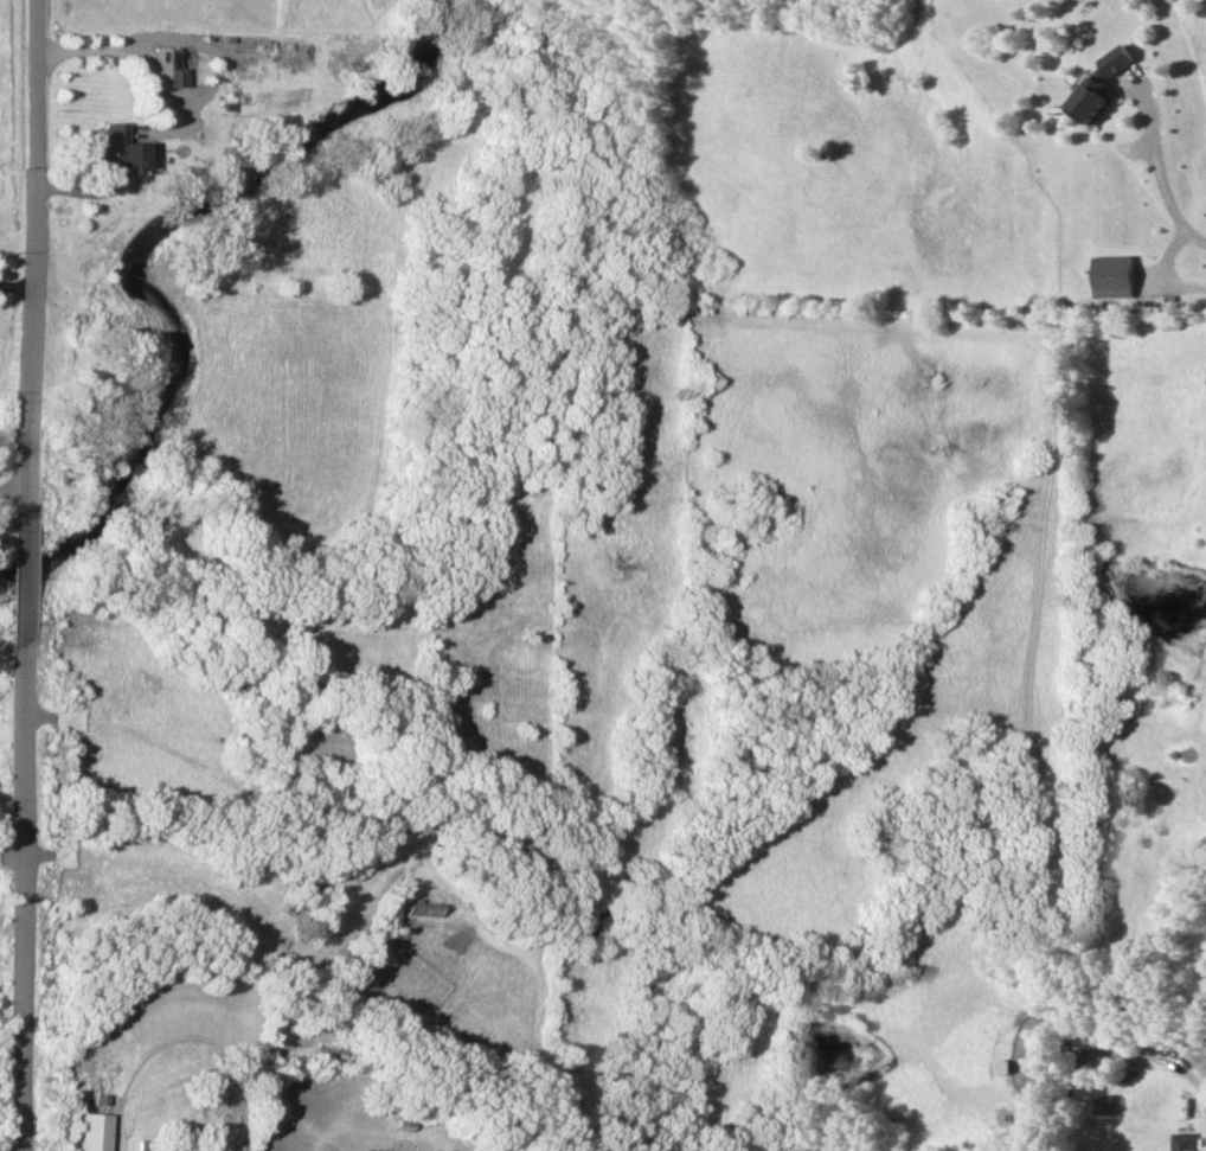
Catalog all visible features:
road: (122, 55)
building: (165, 68)
building: (1098, 87)
building: (118, 152)
road: (1170, 194)
river: (142, 247)
road: (27, 257)
building: (1115, 275)
road: (13, 283)
road: (17, 582)
road: (17, 901)
building: (1089, 1049)
road: (1187, 1079)
building: (90, 1131)
building: (1183, 1142)

